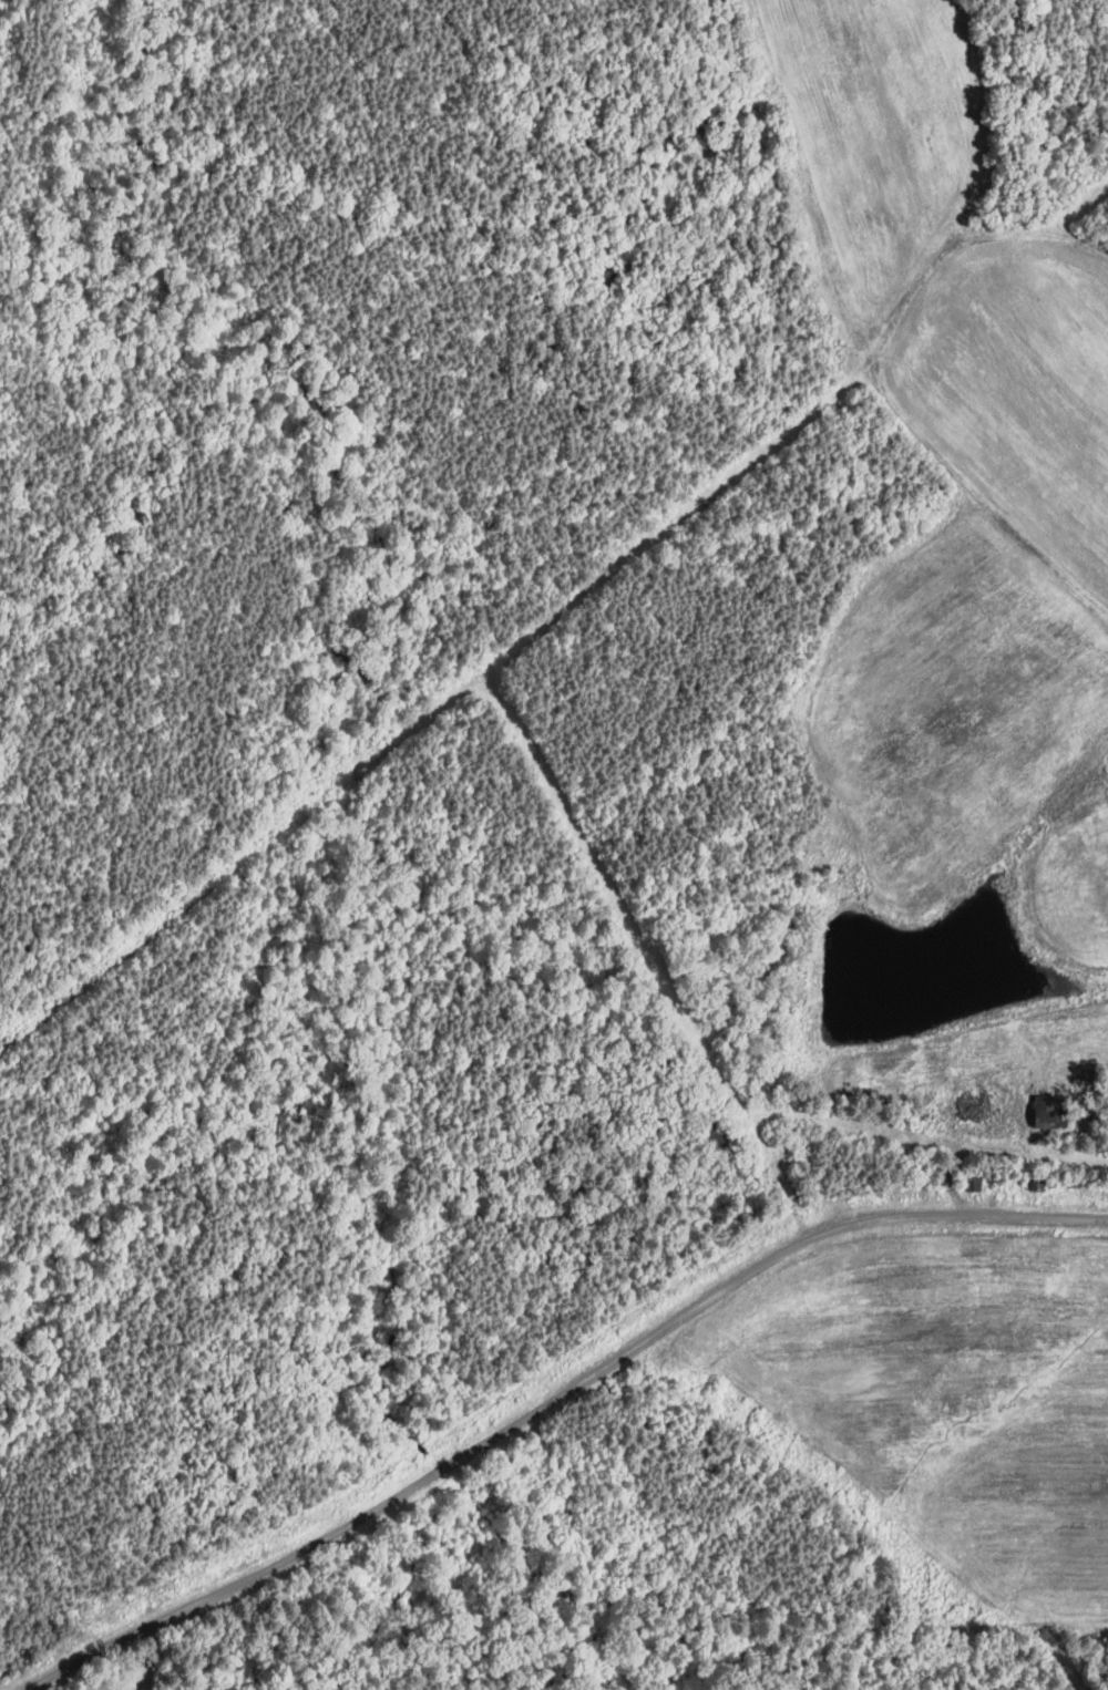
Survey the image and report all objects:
building: (1056, 1109)
road: (558, 1402)

